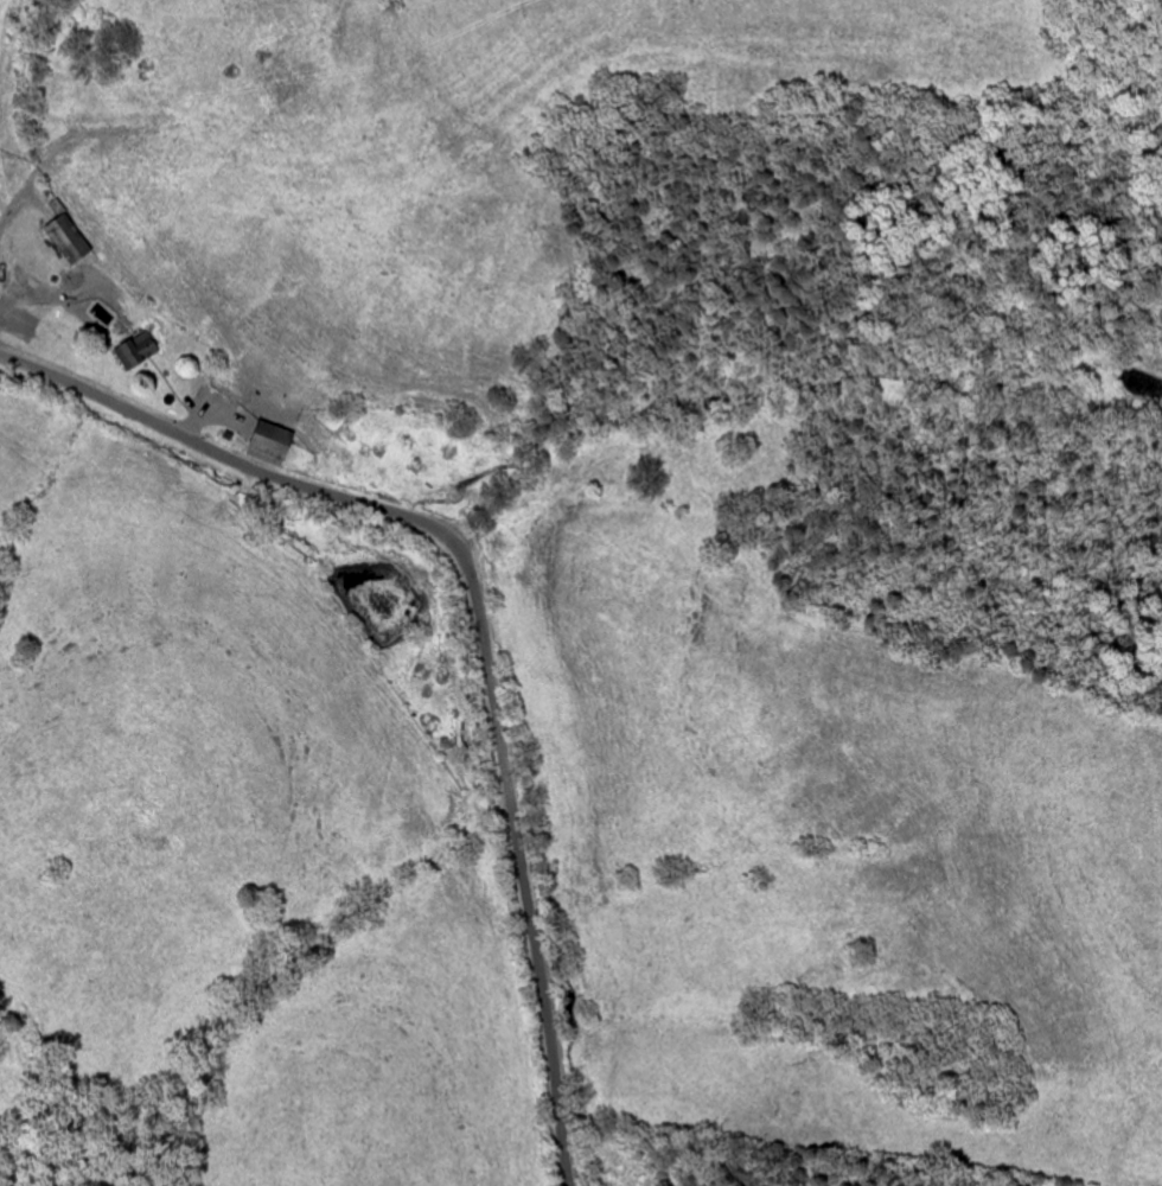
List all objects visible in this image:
road: (17, 196)
building: (74, 240)
building: (140, 351)
building: (276, 445)
road: (480, 617)

